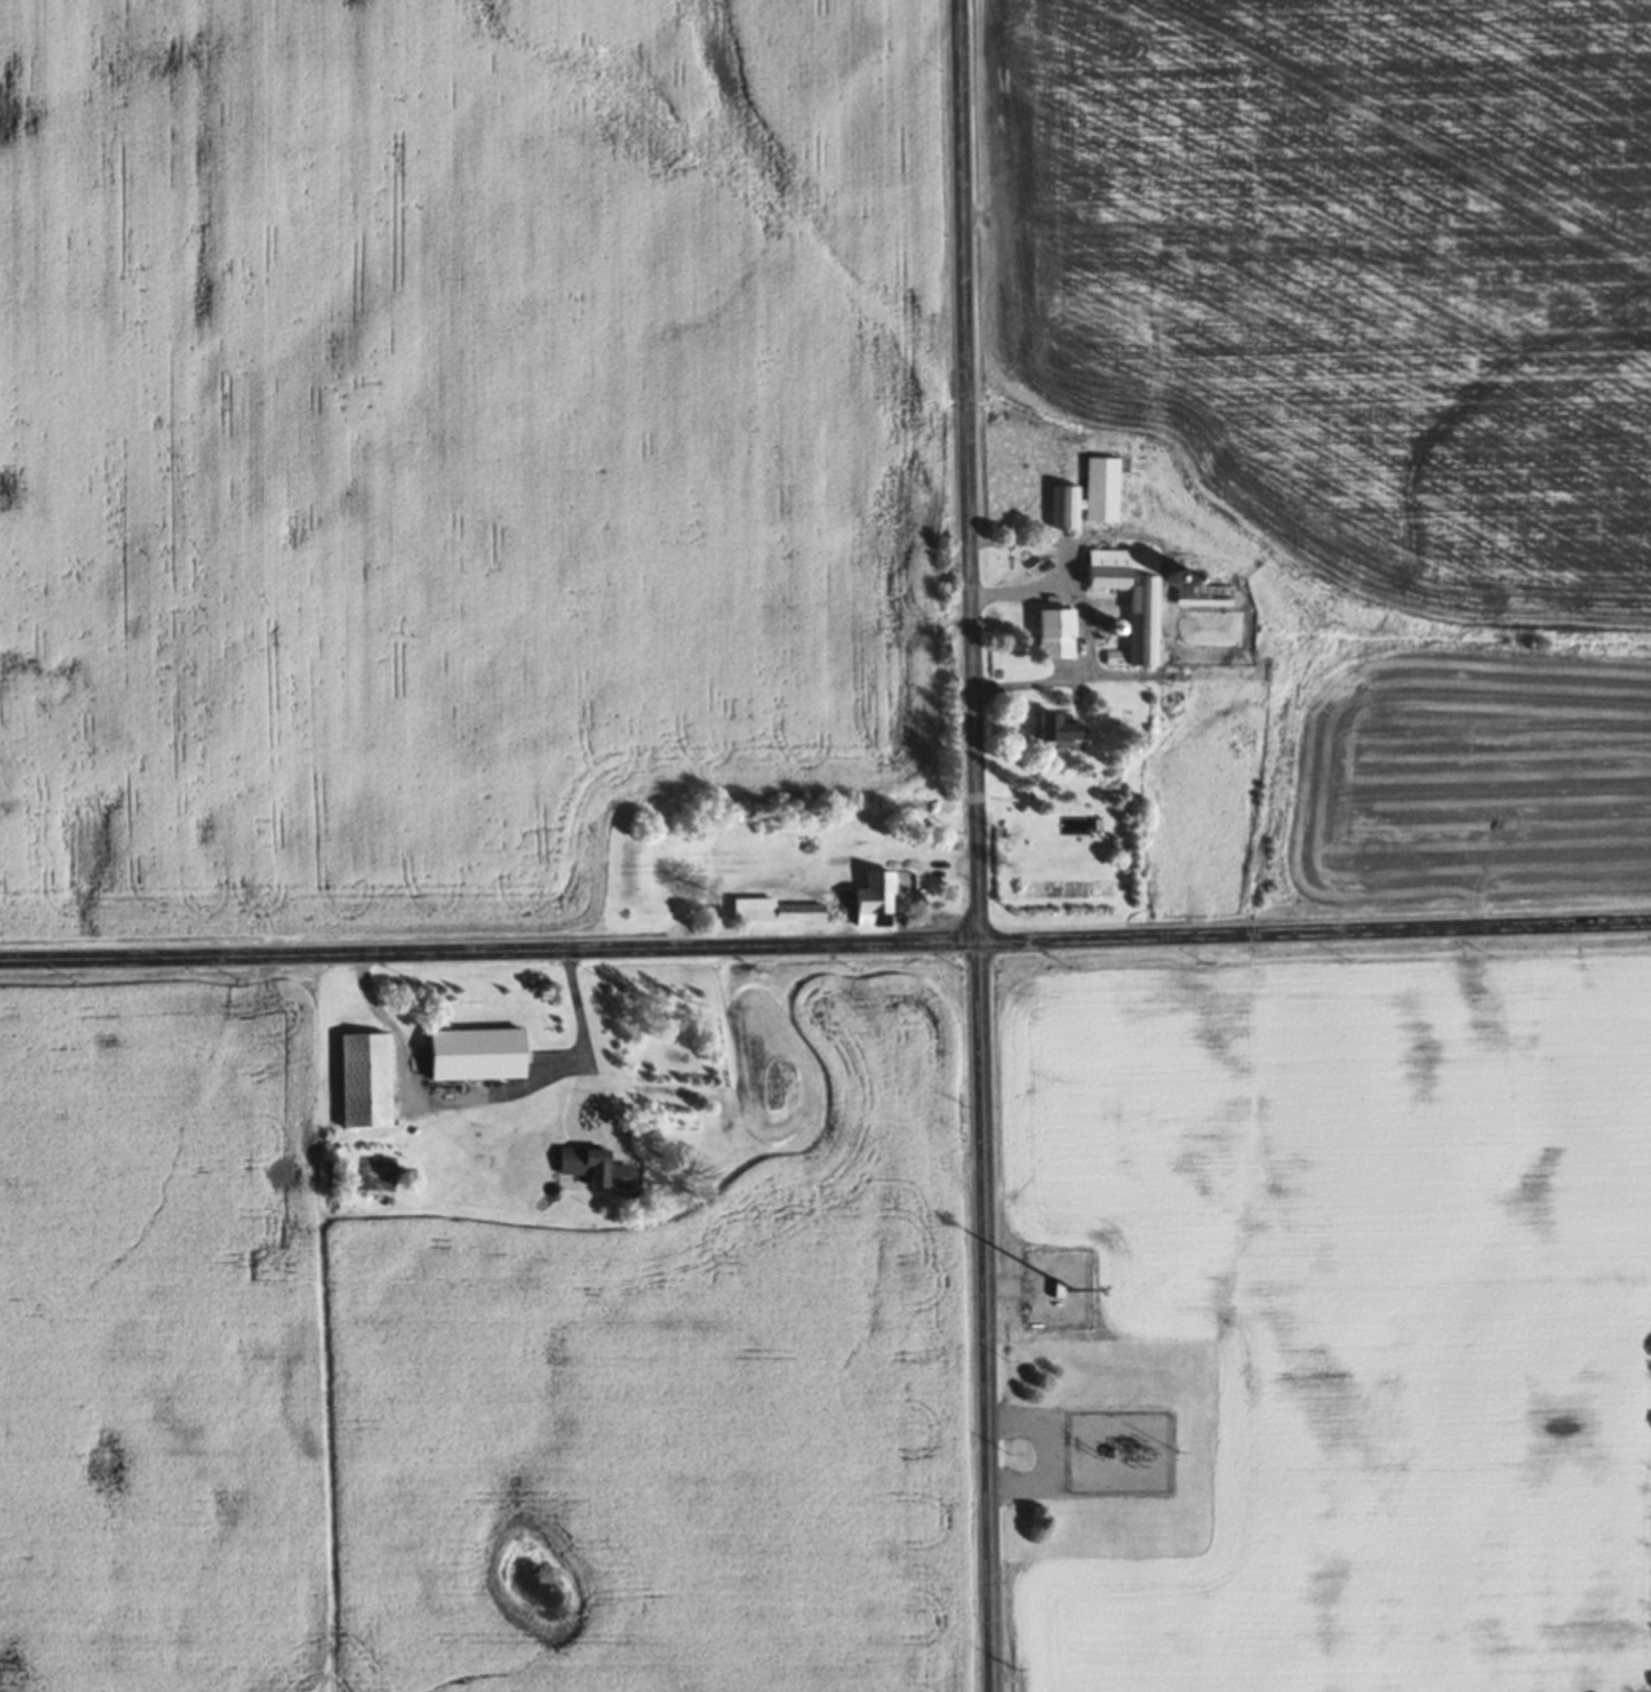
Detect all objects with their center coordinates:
building: (1101, 488)
building: (1065, 507)
building: (1130, 598)
building: (1055, 634)
building: (1060, 728)
road: (979, 845)
building: (824, 904)
road: (825, 943)
road: (396, 1034)
building: (475, 1054)
building: (364, 1080)
road: (580, 1087)
building: (593, 1166)
power tower: (1103, 1446)
power substation: (1130, 1448)

